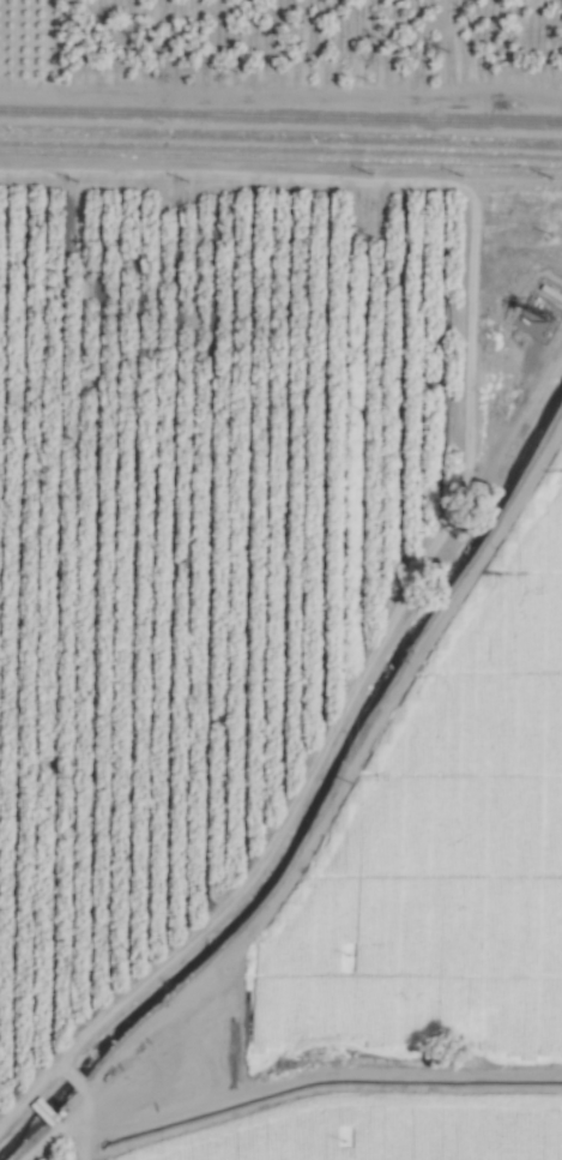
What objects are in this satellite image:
railway: (280, 116)
crop: (280, 579)

